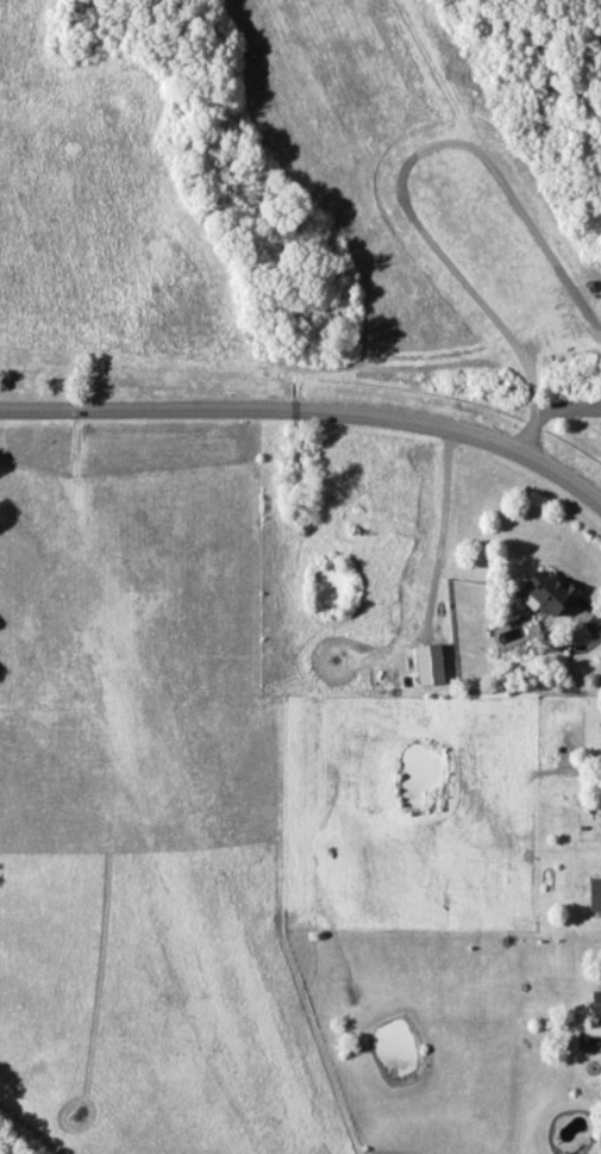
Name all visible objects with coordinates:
road: (545, 68)
road: (403, 168)
park: (300, 204)
road: (301, 368)
road: (311, 408)
road: (547, 411)
road: (442, 525)
building: (547, 592)
building: (427, 663)
building: (594, 893)
building: (595, 1003)

